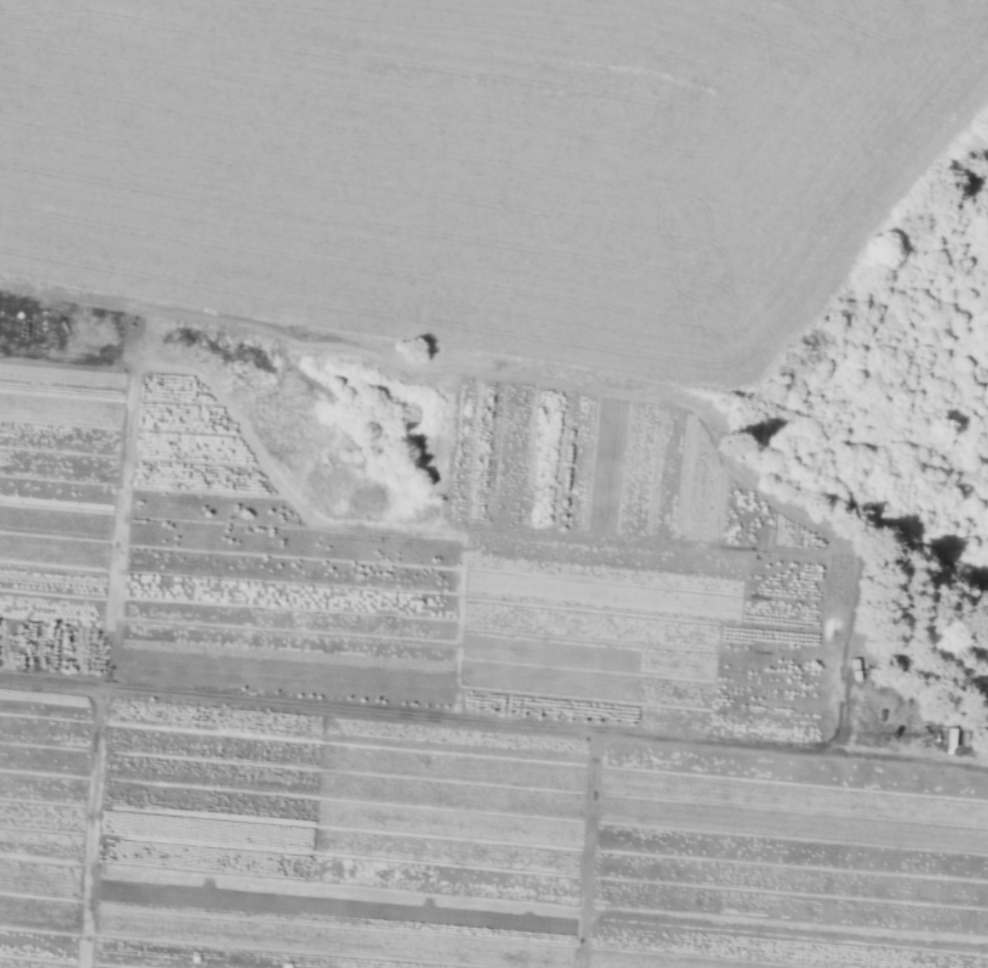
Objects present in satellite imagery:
crop: (483, 163)
road: (357, 350)
road: (494, 721)

